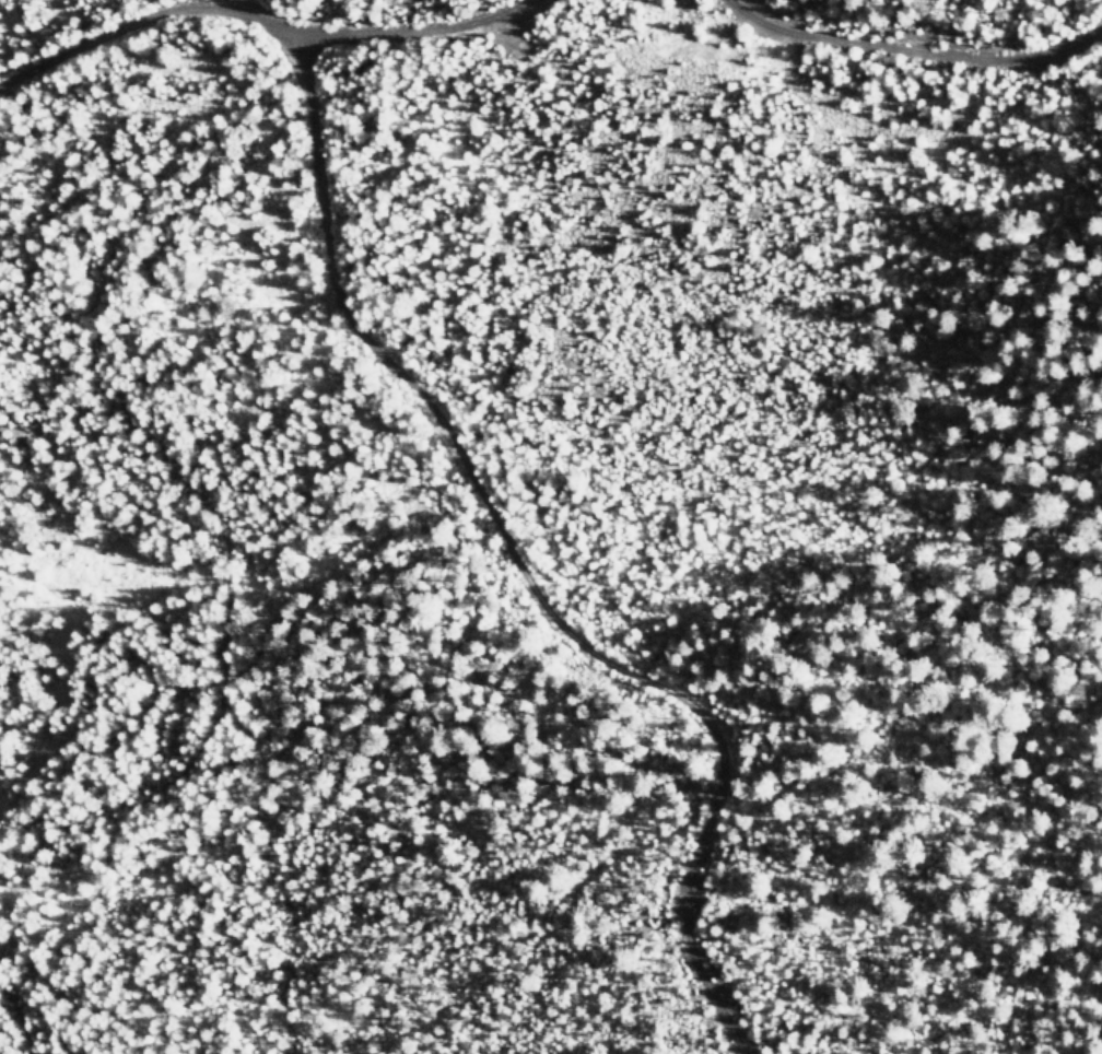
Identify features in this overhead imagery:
road: (407, 35)
road: (921, 57)
road: (449, 432)

